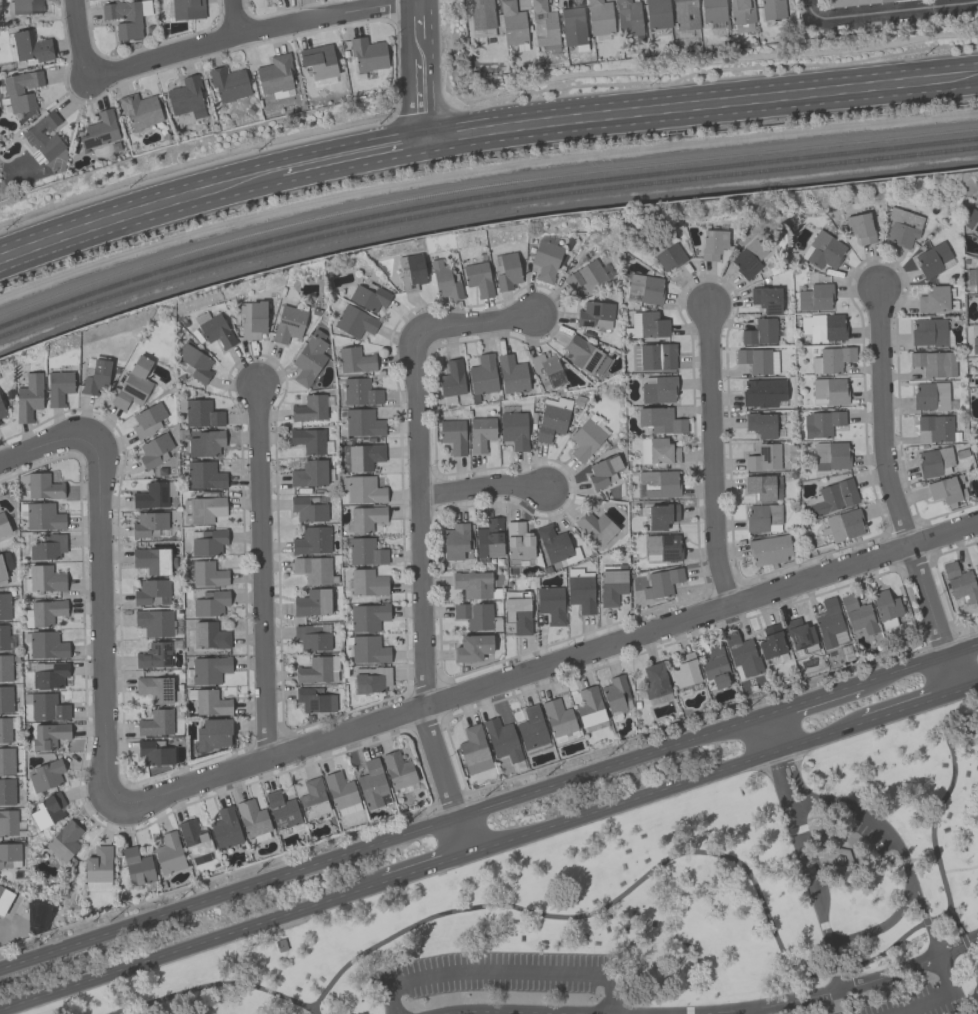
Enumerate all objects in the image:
building: (851, 2)
building: (24, 6)
building: (772, 8)
building: (187, 9)
road: (887, 9)
building: (712, 10)
building: (741, 11)
building: (481, 13)
building: (657, 13)
building: (685, 14)
building: (126, 17)
road: (232, 17)
building: (599, 17)
building: (627, 17)
building: (512, 23)
building: (543, 23)
road: (430, 26)
building: (573, 27)
road: (405, 29)
road: (246, 31)
road: (77, 40)
building: (31, 46)
building: (367, 53)
building: (318, 60)
building: (276, 76)
building: (228, 82)
road: (966, 85)
building: (21, 90)
building: (186, 96)
road: (433, 100)
road: (407, 106)
building: (139, 109)
road: (481, 116)
road: (694, 116)
building: (99, 129)
building: (42, 137)
railway: (955, 147)
road: (327, 172)
railway: (481, 186)
railway: (481, 194)
railway: (458, 207)
building: (970, 218)
building: (902, 226)
building: (860, 227)
building: (974, 231)
road: (109, 232)
building: (713, 243)
building: (822, 250)
building: (670, 256)
building: (748, 258)
building: (545, 259)
building: (932, 259)
building: (411, 271)
building: (506, 271)
building: (587, 276)
building: (478, 278)
building: (975, 278)
building: (445, 280)
building: (644, 288)
building: (369, 296)
building: (815, 296)
building: (766, 298)
building: (936, 299)
building: (595, 314)
building: (252, 318)
building: (354, 321)
road: (473, 321)
building: (288, 322)
building: (646, 325)
building: (823, 326)
building: (214, 328)
building: (760, 331)
building: (928, 331)
building: (975, 344)
building: (585, 355)
building: (654, 355)
building: (309, 357)
building: (758, 359)
building: (831, 359)
building: (355, 360)
building: (194, 361)
building: (934, 363)
building: (546, 370)
building: (511, 373)
building: (483, 374)
building: (95, 376)
building: (451, 378)
building: (133, 383)
building: (58, 387)
building: (658, 388)
building: (829, 390)
building: (360, 391)
building: (763, 391)
building: (930, 395)
building: (28, 397)
building: (309, 407)
building: (2, 410)
building: (200, 412)
building: (553, 418)
building: (148, 419)
building: (661, 420)
building: (360, 421)
building: (760, 423)
building: (821, 423)
building: (938, 427)
building: (514, 429)
building: (480, 433)
building: (453, 435)
building: (586, 436)
road: (47, 439)
building: (308, 439)
building: (205, 441)
building: (154, 450)
building: (658, 451)
road: (712, 452)
building: (364, 455)
building: (830, 455)
building: (764, 457)
building: (935, 461)
building: (603, 471)
building: (310, 473)
building: (204, 475)
building: (659, 483)
building: (43, 485)
road: (481, 486)
building: (763, 486)
building: (946, 488)
building: (363, 489)
road: (893, 493)
building: (154, 494)
building: (833, 496)
building: (308, 508)
building: (203, 509)
building: (41, 515)
building: (661, 515)
building: (366, 517)
road: (418, 517)
building: (763, 517)
building: (148, 524)
building: (843, 524)
building: (3, 525)
building: (595, 526)
building: (488, 539)
building: (312, 540)
building: (457, 541)
building: (208, 542)
building: (553, 542)
building: (520, 544)
building: (47, 546)
building: (663, 547)
building: (768, 549)
building: (365, 551)
building: (151, 559)
building: (4, 565)
building: (313, 568)
road: (261, 570)
building: (976, 570)
building: (208, 573)
building: (44, 579)
building: (367, 581)
building: (661, 581)
building: (960, 582)
building: (475, 584)
building: (612, 586)
building: (151, 591)
building: (581, 592)
building: (210, 602)
building: (312, 602)
building: (550, 603)
building: (5, 605)
building: (885, 608)
building: (518, 611)
building: (44, 612)
building: (474, 614)
building: (858, 614)
building: (368, 616)
road: (101, 620)
building: (155, 621)
building: (828, 621)
building: (800, 634)
building: (209, 635)
building: (3, 636)
building: (312, 636)
building: (771, 641)
building: (45, 644)
building: (472, 647)
building: (368, 649)
building: (154, 655)
building: (742, 655)
road: (544, 664)
building: (715, 665)
road: (914, 666)
building: (5, 667)
building: (317, 668)
building: (206, 669)
building: (685, 670)
building: (49, 674)
building: (371, 679)
building: (655, 682)
building: (155, 688)
road: (967, 688)
building: (616, 696)
building: (5, 698)
building: (314, 699)
road: (807, 700)
building: (208, 701)
building: (45, 705)
road: (913, 706)
building: (589, 708)
building: (559, 720)
building: (156, 722)
building: (4, 729)
building: (532, 729)
building: (213, 733)
road: (770, 734)
building: (48, 735)
building: (501, 739)
building: (474, 749)
building: (154, 752)
building: (6, 760)
building: (398, 769)
building: (45, 774)
road: (446, 780)
building: (372, 785)
road: (670, 788)
building: (340, 790)
building: (7, 791)
building: (313, 797)
road: (799, 804)
building: (48, 809)
building: (282, 810)
building: (251, 817)
building: (8, 822)
building: (225, 827)
road: (884, 828)
building: (194, 840)
building: (63, 841)
road: (381, 842)
road: (933, 845)
building: (9, 853)
building: (168, 853)
building: (98, 864)
building: (137, 865)
road: (431, 868)
road: (959, 868)
road: (806, 870)
road: (647, 873)
building: (4, 898)
park: (658, 907)
road: (884, 926)
road: (196, 946)
road: (501, 973)
road: (218, 986)
road: (945, 997)
road: (746, 1011)
road: (971, 1011)
road: (723, 1012)

